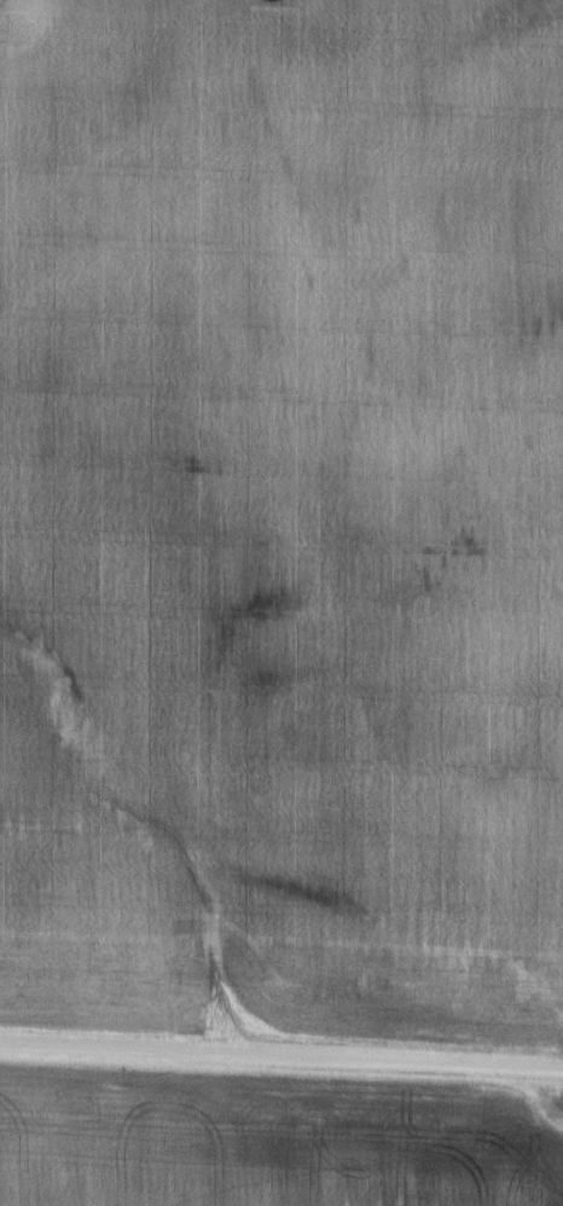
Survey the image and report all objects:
road: (281, 1056)

